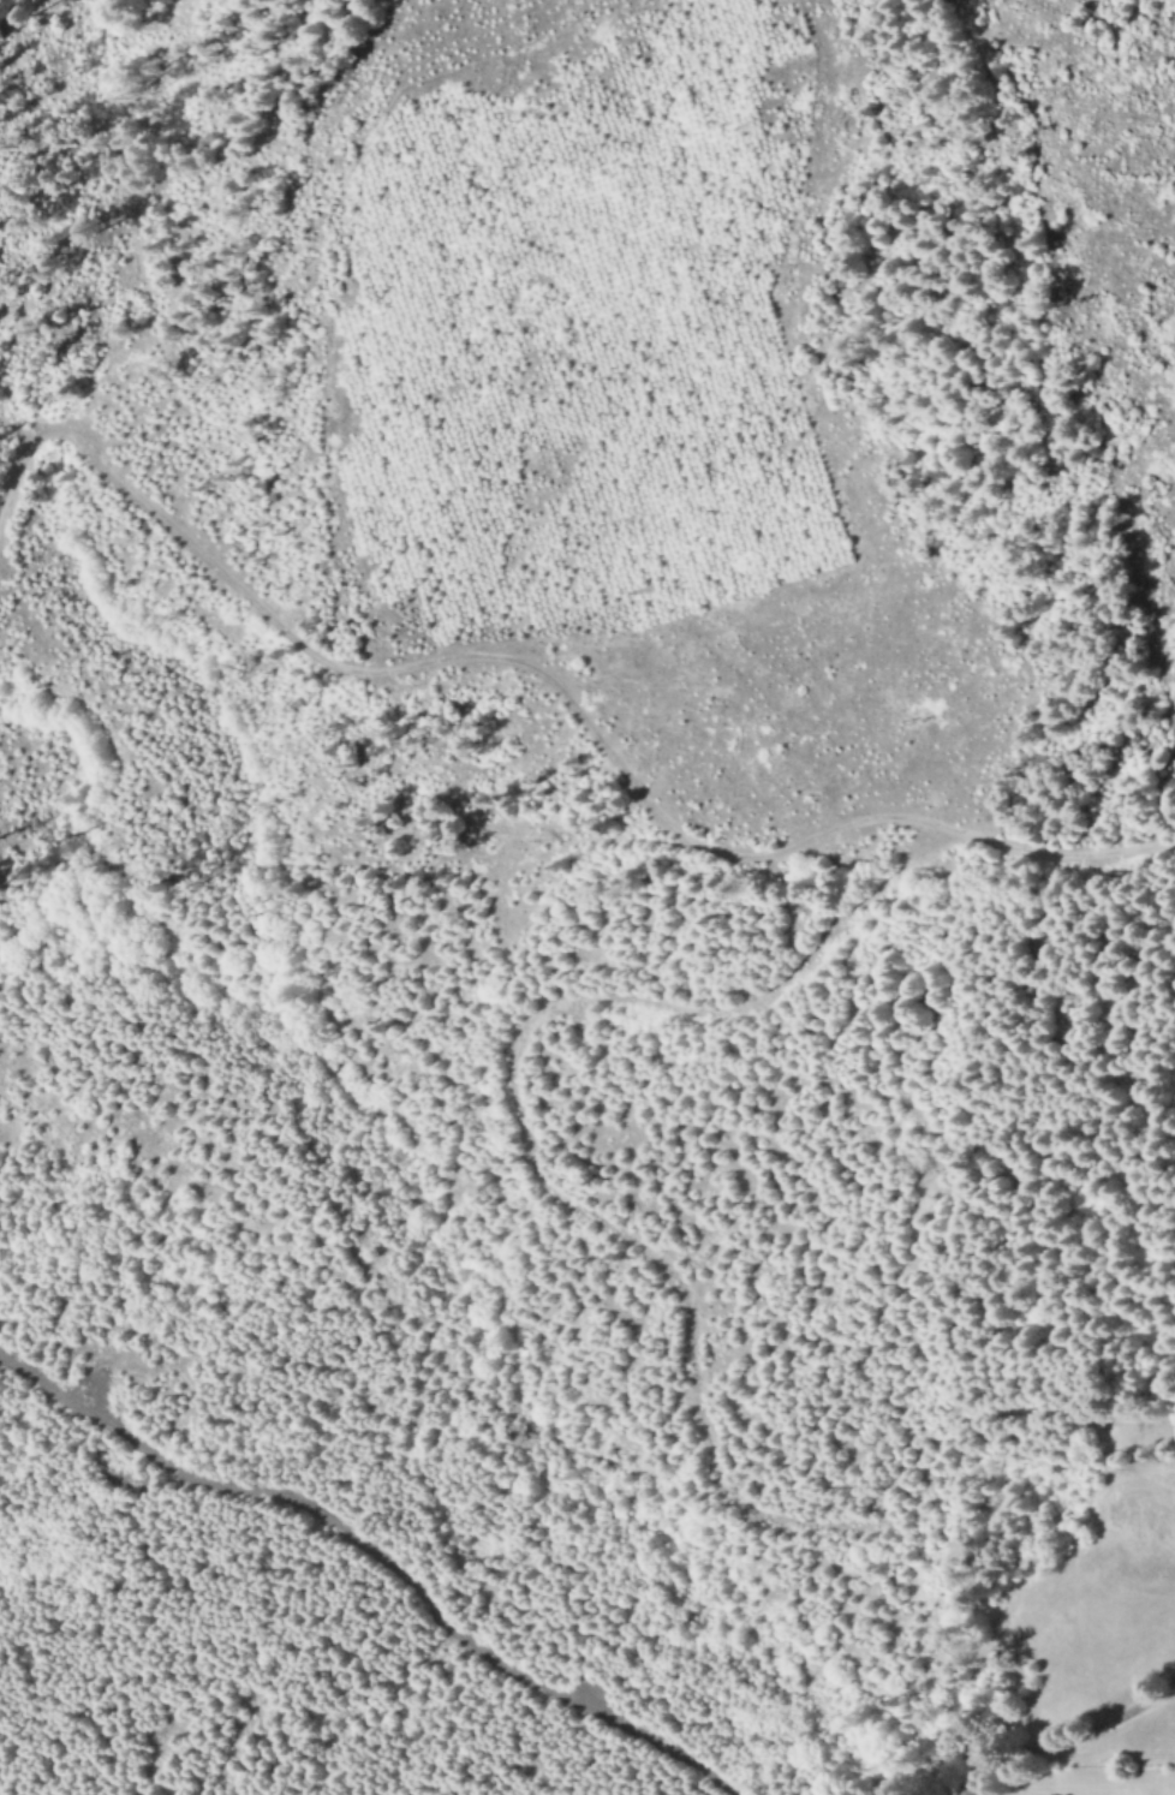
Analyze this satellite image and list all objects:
building: (1107, 1441)
building: (1140, 1504)
road: (995, 1763)

